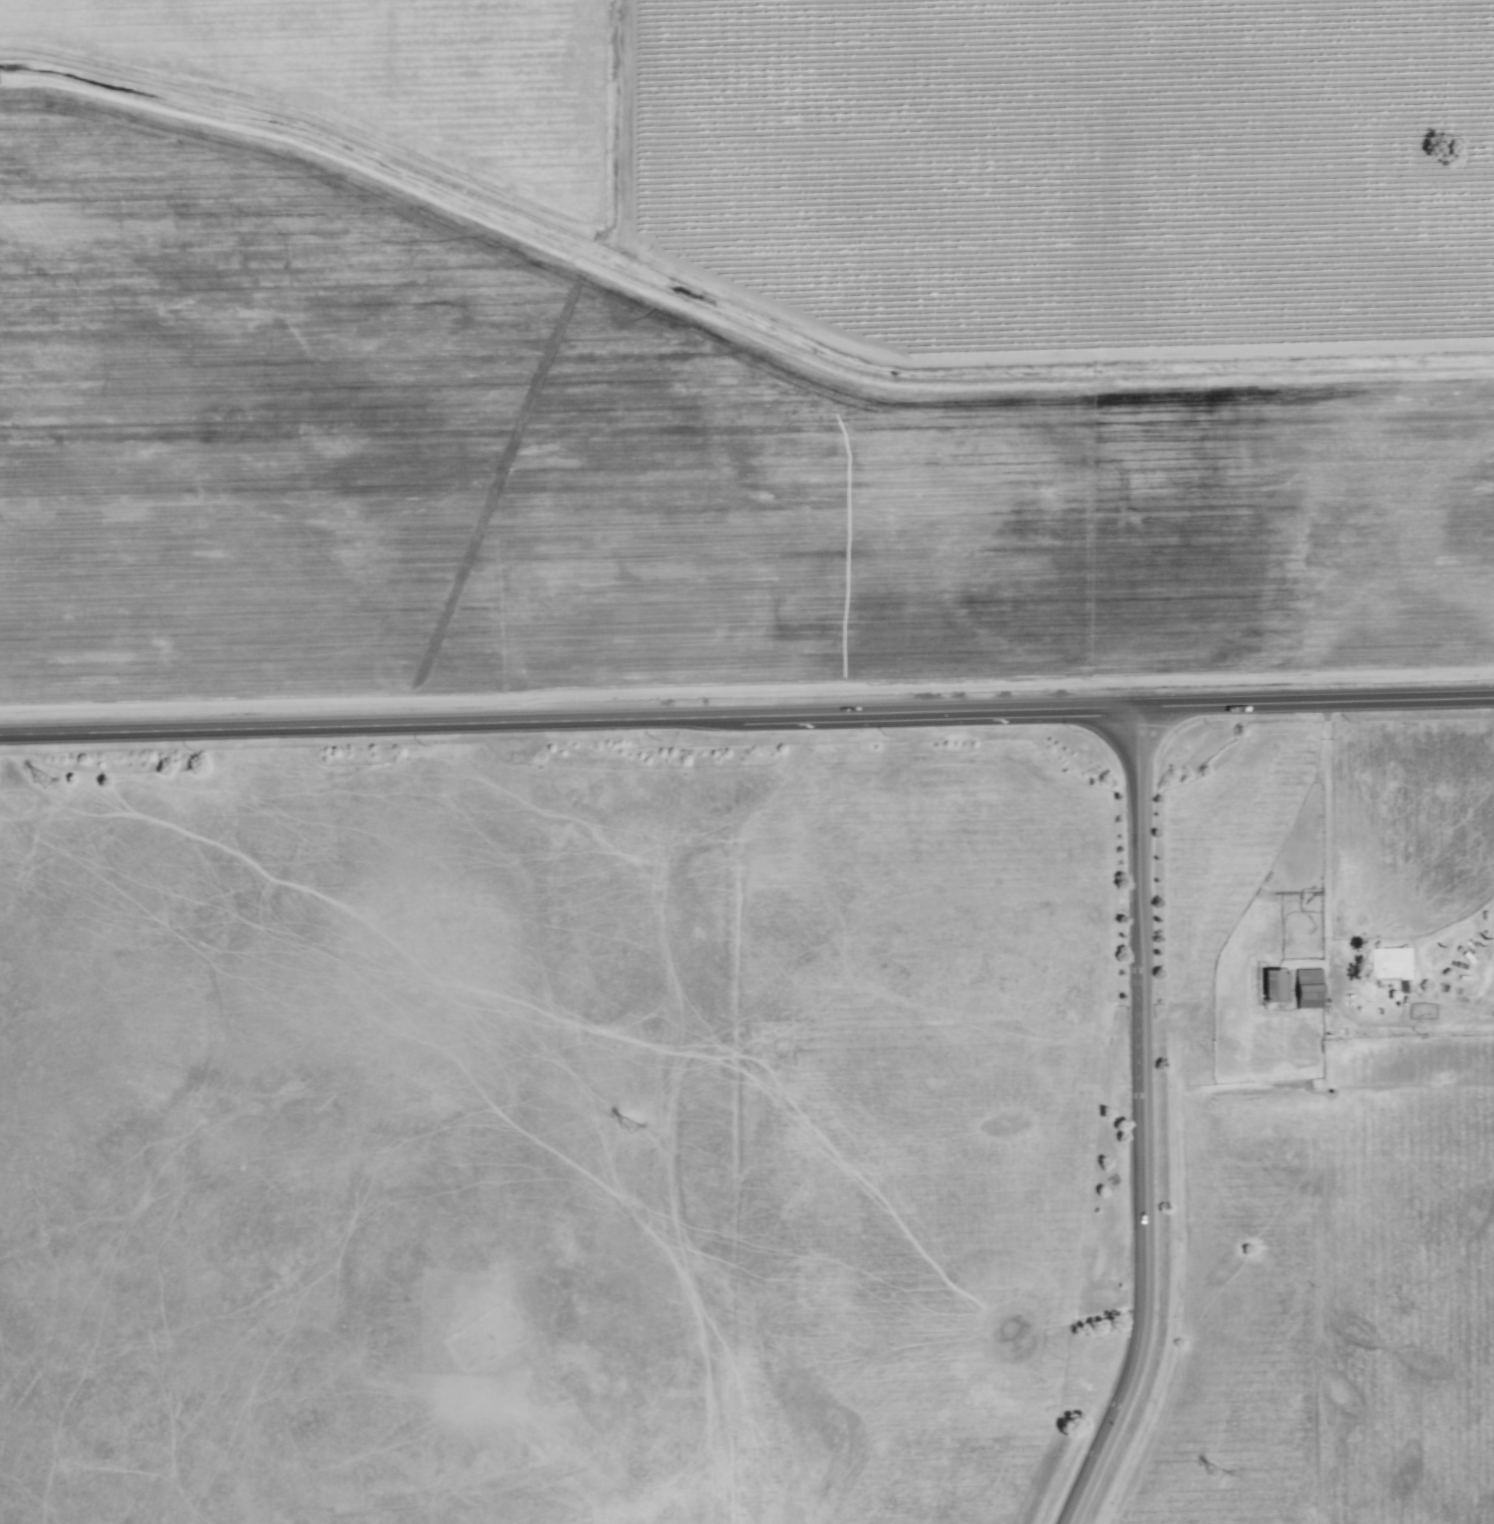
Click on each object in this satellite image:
road: (746, 713)
power tower: (47, 778)
road: (1326, 846)
building: (1389, 962)
building: (1274, 986)
building: (1308, 987)
road: (1141, 1121)
landfill: (1308, 1124)
power tower: (632, 1127)
road: (1171, 1283)
power tower: (1222, 1472)

